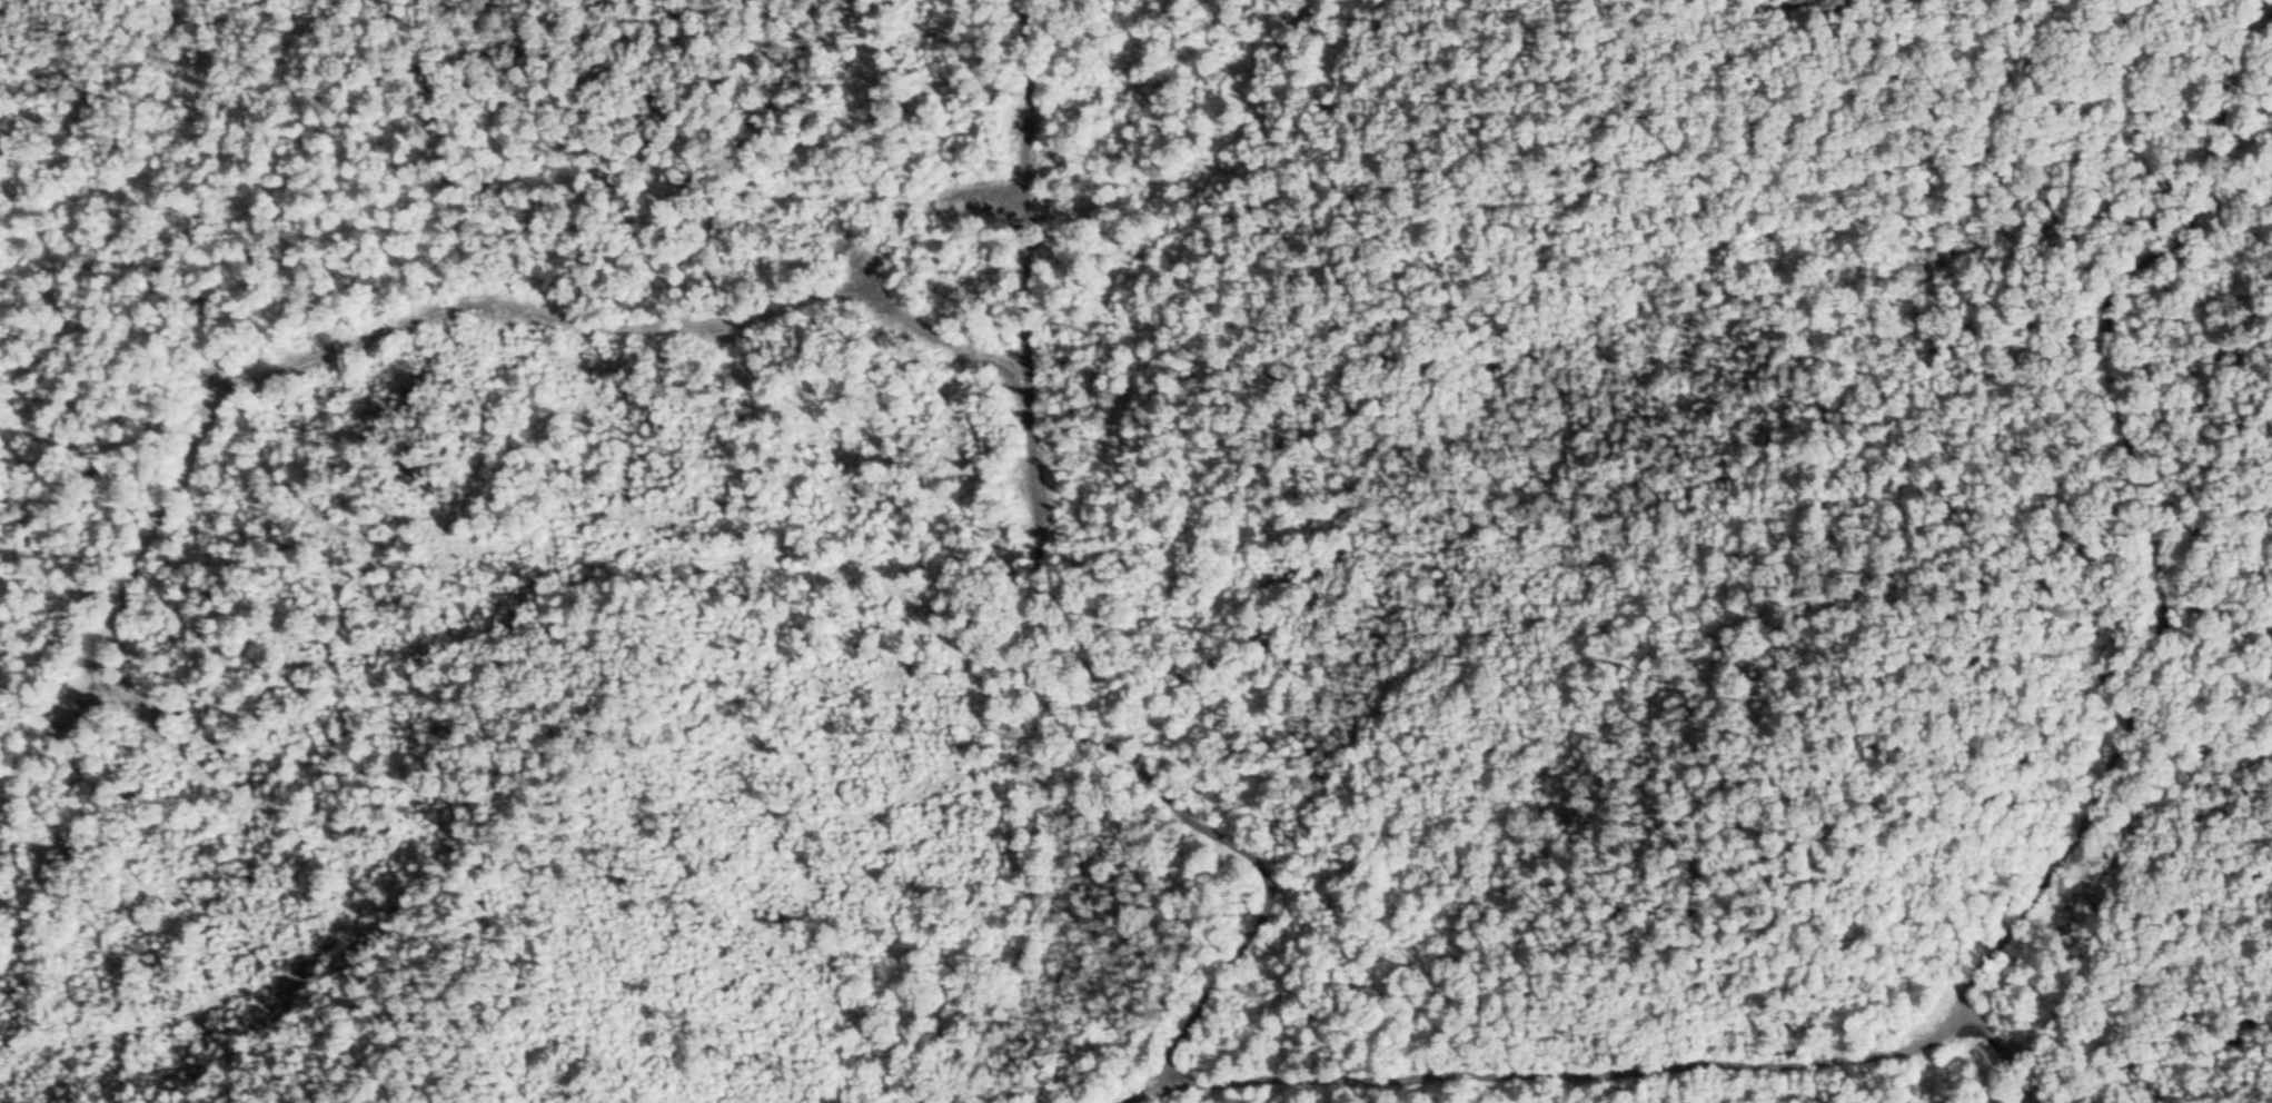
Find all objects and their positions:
road: (2024, 903)

